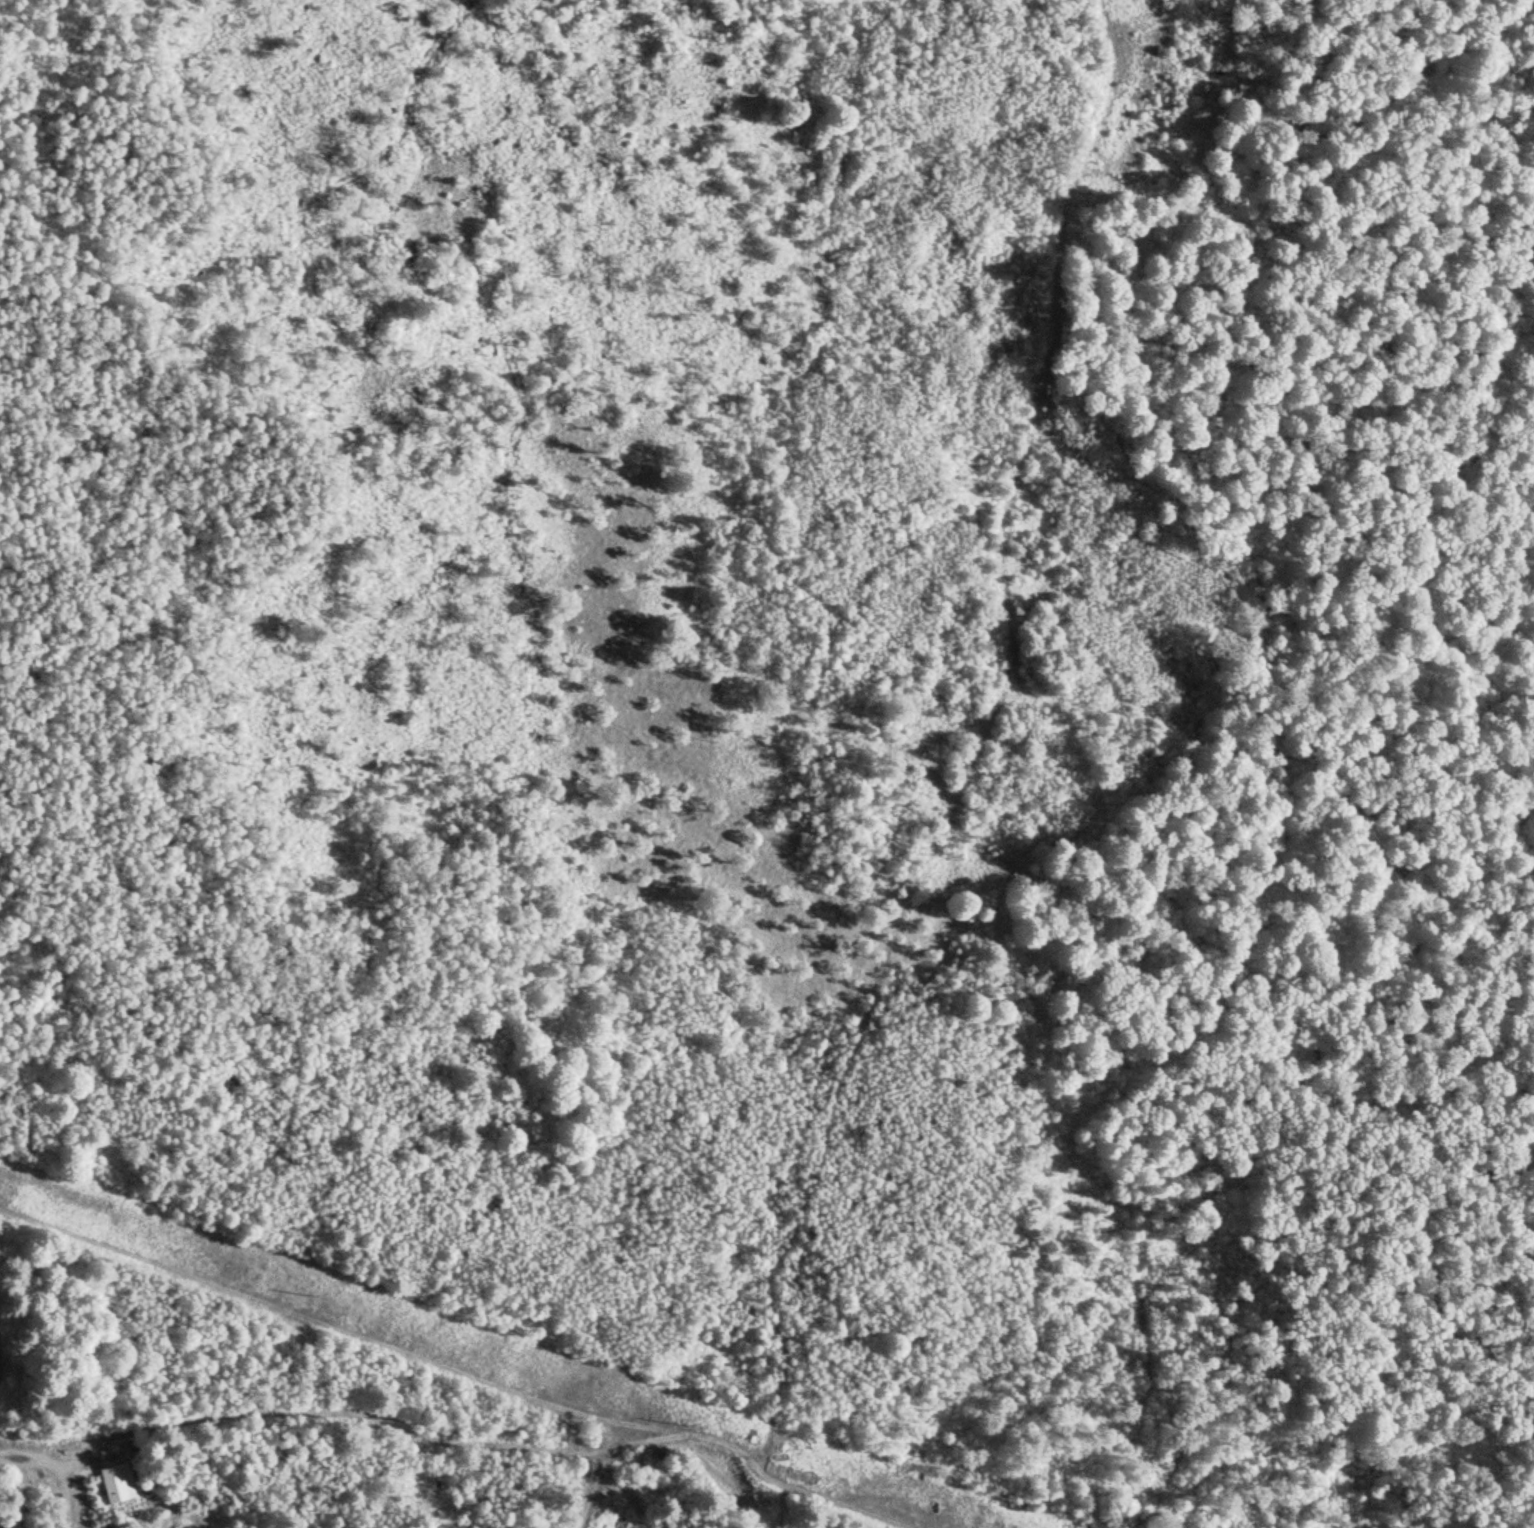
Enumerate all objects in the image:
road: (945, 815)
road: (394, 1432)
road: (23, 1455)
building: (116, 1484)
road: (593, 1489)
road: (61, 1490)
building: (662, 1493)

